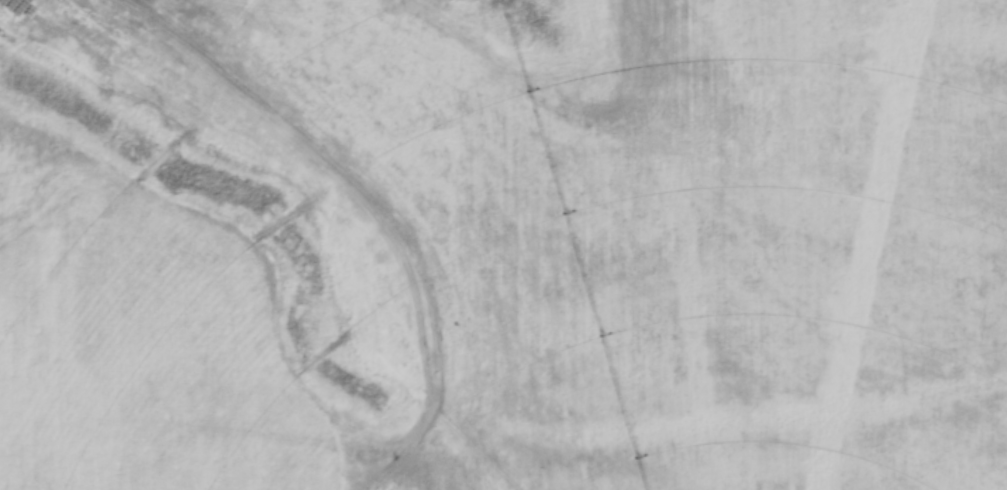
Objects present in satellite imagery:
crop: (538, 251)

